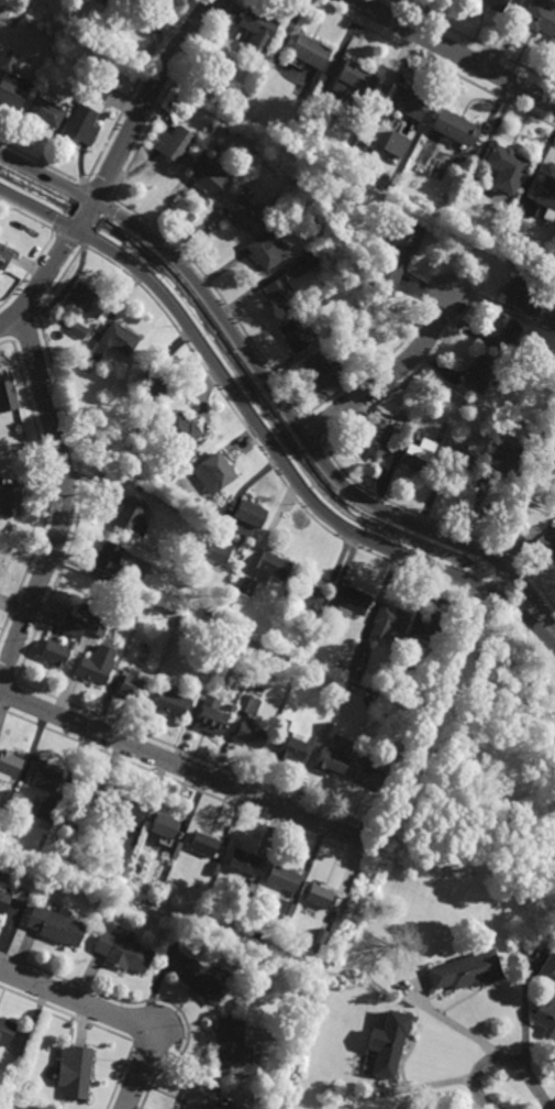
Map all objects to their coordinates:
building: (113, 3)
building: (493, 4)
building: (540, 18)
building: (258, 28)
building: (311, 52)
road: (455, 52)
building: (10, 61)
building: (358, 79)
building: (12, 90)
building: (100, 91)
building: (35, 92)
building: (243, 97)
building: (408, 103)
building: (45, 112)
building: (81, 125)
building: (455, 129)
building: (174, 144)
building: (395, 144)
road: (112, 168)
building: (506, 168)
building: (208, 179)
building: (324, 195)
building: (546, 199)
building: (277, 201)
building: (244, 212)
building: (267, 250)
building: (397, 257)
building: (4, 259)
building: (307, 262)
road: (179, 264)
building: (281, 293)
building: (86, 299)
building: (324, 299)
building: (521, 299)
building: (371, 314)
building: (553, 328)
building: (78, 330)
building: (501, 334)
building: (297, 336)
building: (119, 339)
building: (95, 350)
building: (318, 369)
building: (478, 373)
road: (387, 375)
building: (152, 381)
building: (8, 394)
building: (143, 429)
building: (180, 429)
building: (374, 436)
road: (262, 437)
building: (418, 452)
building: (459, 457)
building: (508, 457)
building: (179, 463)
building: (213, 472)
building: (524, 491)
building: (11, 498)
road: (66, 502)
building: (131, 515)
building: (246, 517)
road: (430, 530)
building: (551, 549)
building: (219, 553)
building: (108, 554)
building: (271, 567)
building: (188, 573)
building: (246, 586)
building: (304, 597)
building: (349, 601)
building: (208, 612)
building: (325, 616)
building: (388, 622)
building: (97, 624)
building: (71, 625)
building: (432, 627)
building: (54, 650)
building: (309, 659)
building: (92, 667)
building: (354, 670)
building: (132, 687)
building: (396, 688)
building: (171, 703)
building: (248, 704)
building: (210, 717)
building: (328, 732)
building: (249, 735)
building: (288, 745)
road: (553, 745)
road: (515, 755)
road: (551, 760)
building: (329, 761)
building: (10, 765)
road: (184, 766)
park: (480, 770)
building: (366, 772)
building: (44, 778)
building: (84, 798)
building: (10, 800)
building: (126, 810)
building: (46, 812)
road: (424, 813)
building: (163, 826)
building: (203, 844)
building: (174, 849)
building: (244, 861)
building: (213, 866)
building: (282, 878)
building: (319, 894)
building: (4, 899)
building: (282, 909)
building: (55, 925)
building: (324, 926)
building: (122, 951)
building: (466, 973)
building: (201, 981)
building: (547, 998)
road: (109, 1013)
building: (5, 1032)
building: (229, 1044)
building: (389, 1044)
road: (500, 1059)
building: (74, 1070)
building: (200, 1096)

